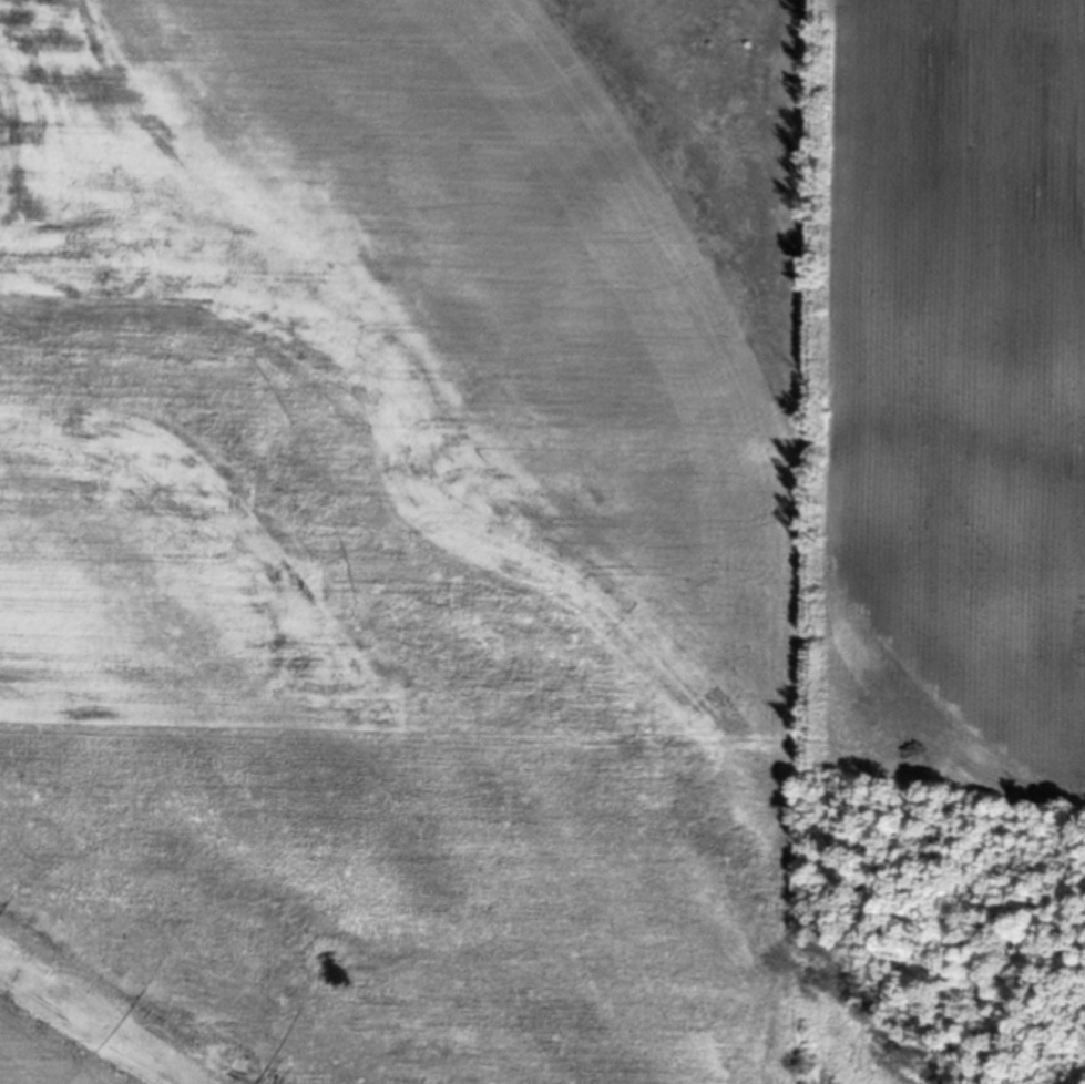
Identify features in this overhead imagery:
crop: (511, 511)

